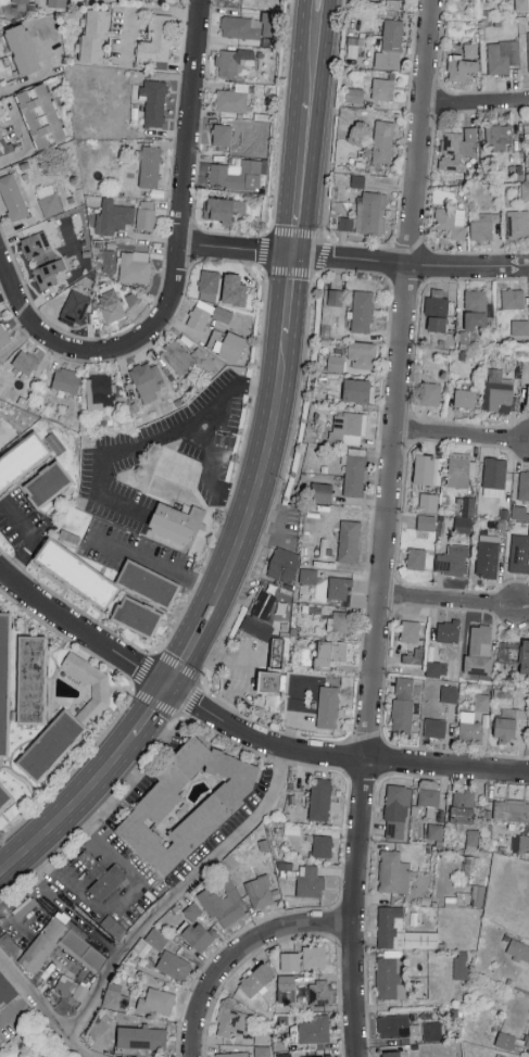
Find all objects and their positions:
building: (21, 1)
building: (58, 2)
building: (521, 4)
building: (267, 23)
building: (241, 26)
building: (95, 34)
building: (156, 39)
building: (392, 39)
building: (528, 45)
building: (353, 47)
building: (22, 48)
building: (470, 49)
road: (306, 52)
road: (320, 52)
building: (502, 54)
building: (234, 60)
building: (461, 67)
road: (38, 77)
building: (383, 88)
building: (354, 95)
building: (154, 101)
road: (476, 105)
building: (40, 114)
building: (222, 133)
building: (500, 135)
building: (383, 140)
building: (3, 141)
building: (457, 148)
building: (150, 166)
road: (185, 173)
building: (236, 173)
road: (300, 179)
building: (525, 189)
building: (13, 196)
building: (49, 199)
building: (224, 207)
building: (370, 212)
building: (146, 214)
building: (113, 216)
building: (452, 221)
building: (345, 222)
building: (483, 224)
building: (518, 224)
building: (35, 243)
road: (235, 249)
traffic signals: (290, 255)
road: (408, 264)
building: (135, 266)
road: (316, 270)
building: (48, 272)
building: (209, 284)
building: (234, 289)
building: (335, 295)
road: (286, 297)
building: (513, 298)
building: (476, 299)
building: (111, 304)
building: (75, 306)
building: (362, 310)
building: (437, 310)
building: (200, 314)
building: (223, 314)
building: (476, 318)
building: (520, 326)
building: (3, 335)
road: (52, 337)
road: (17, 339)
building: (226, 343)
building: (362, 354)
building: (185, 356)
building: (25, 361)
building: (336, 362)
building: (66, 379)
building: (147, 380)
building: (356, 389)
building: (102, 390)
building: (499, 391)
building: (430, 392)
building: (528, 395)
building: (348, 427)
road: (156, 438)
road: (461, 438)
parking lot: (119, 452)
building: (21, 457)
road: (238, 468)
building: (424, 468)
building: (461, 468)
building: (354, 470)
road: (210, 475)
building: (494, 476)
building: (47, 480)
road: (256, 480)
road: (279, 483)
building: (524, 485)
building: (320, 491)
building: (428, 501)
building: (469, 505)
building: (426, 521)
building: (463, 524)
building: (178, 525)
road: (386, 528)
building: (349, 540)
road: (30, 542)
building: (519, 552)
building: (488, 554)
building: (416, 557)
building: (453, 559)
road: (155, 565)
building: (284, 570)
building: (75, 571)
building: (307, 575)
building: (148, 581)
building: (338, 588)
road: (451, 604)
building: (262, 605)
building: (137, 615)
building: (341, 620)
road: (200, 627)
building: (264, 630)
building: (411, 630)
building: (448, 630)
road: (83, 631)
building: (479, 650)
building: (329, 653)
building: (515, 653)
road: (226, 655)
building: (414, 656)
road: (180, 663)
building: (436, 668)
building: (3, 678)
building: (30, 678)
road: (198, 680)
building: (404, 687)
building: (449, 693)
building: (95, 701)
building: (328, 706)
road: (151, 710)
building: (402, 715)
building: (507, 722)
building: (469, 726)
building: (434, 727)
building: (51, 743)
road: (340, 756)
road: (73, 770)
building: (4, 796)
building: (429, 796)
building: (319, 798)
building: (187, 803)
building: (463, 806)
road: (71, 808)
building: (511, 809)
building: (396, 810)
building: (434, 831)
building: (520, 843)
building: (322, 845)
building: (393, 872)
building: (105, 876)
building: (308, 880)
building: (260, 891)
road: (176, 893)
road: (121, 897)
building: (224, 902)
building: (27, 908)
building: (191, 911)
road: (13, 920)
building: (116, 927)
building: (401, 930)
building: (199, 934)
building: (151, 941)
building: (66, 946)
building: (518, 949)
road: (241, 953)
building: (314, 956)
building: (290, 960)
building: (174, 965)
building: (461, 965)
building: (391, 973)
building: (256, 979)
building: (72, 986)
building: (286, 987)
building: (5, 991)
building: (319, 992)
building: (115, 996)
building: (158, 1001)
road: (43, 1011)
building: (13, 1015)
building: (230, 1021)
building: (395, 1025)
building: (315, 1029)
building: (431, 1031)
building: (141, 1036)
building: (505, 1040)
building: (527, 1042)
building: (232, 1054)
building: (395, 1054)
building: (284, 1055)
building: (329, 1056)

